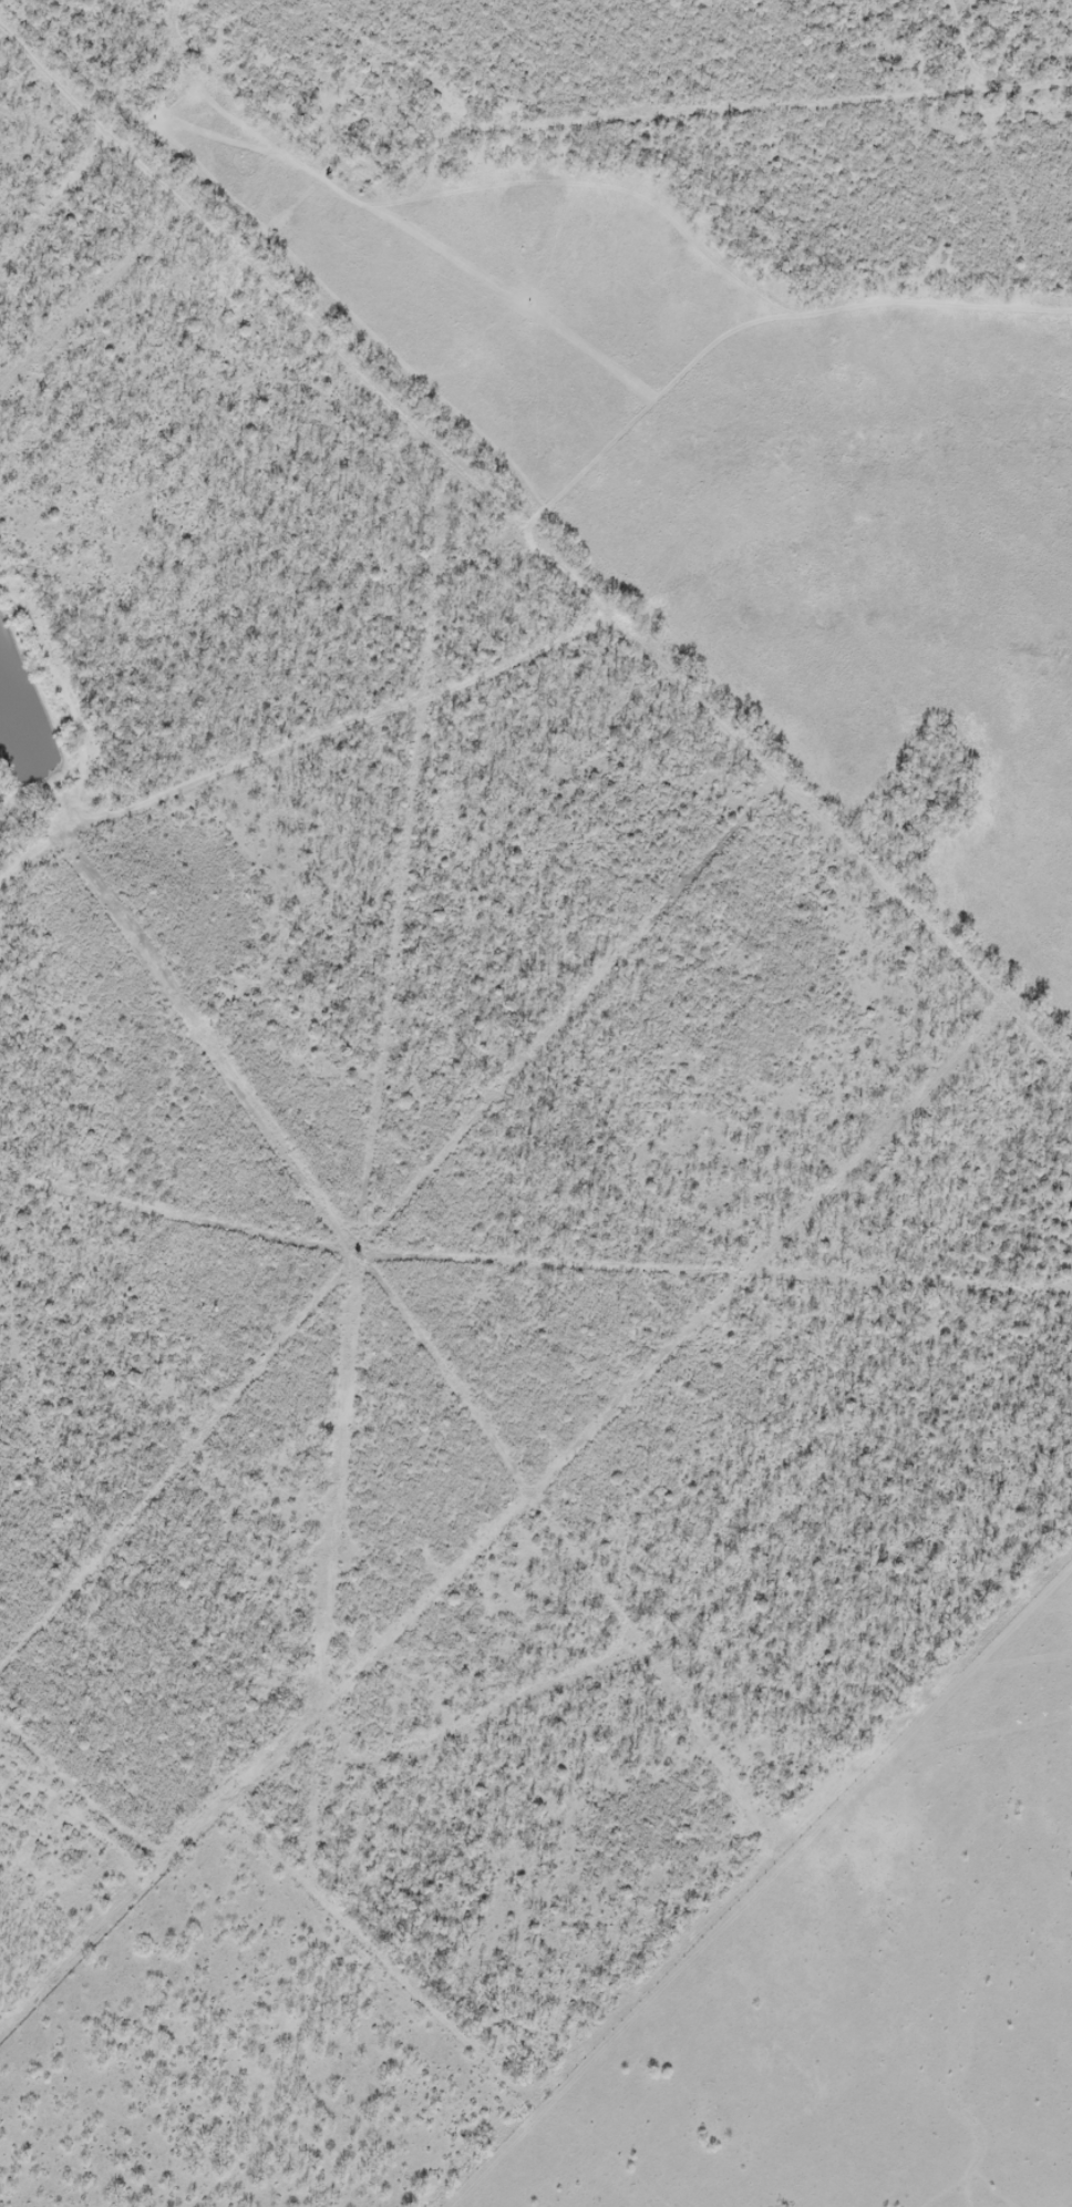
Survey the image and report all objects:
road: (34, 1866)

